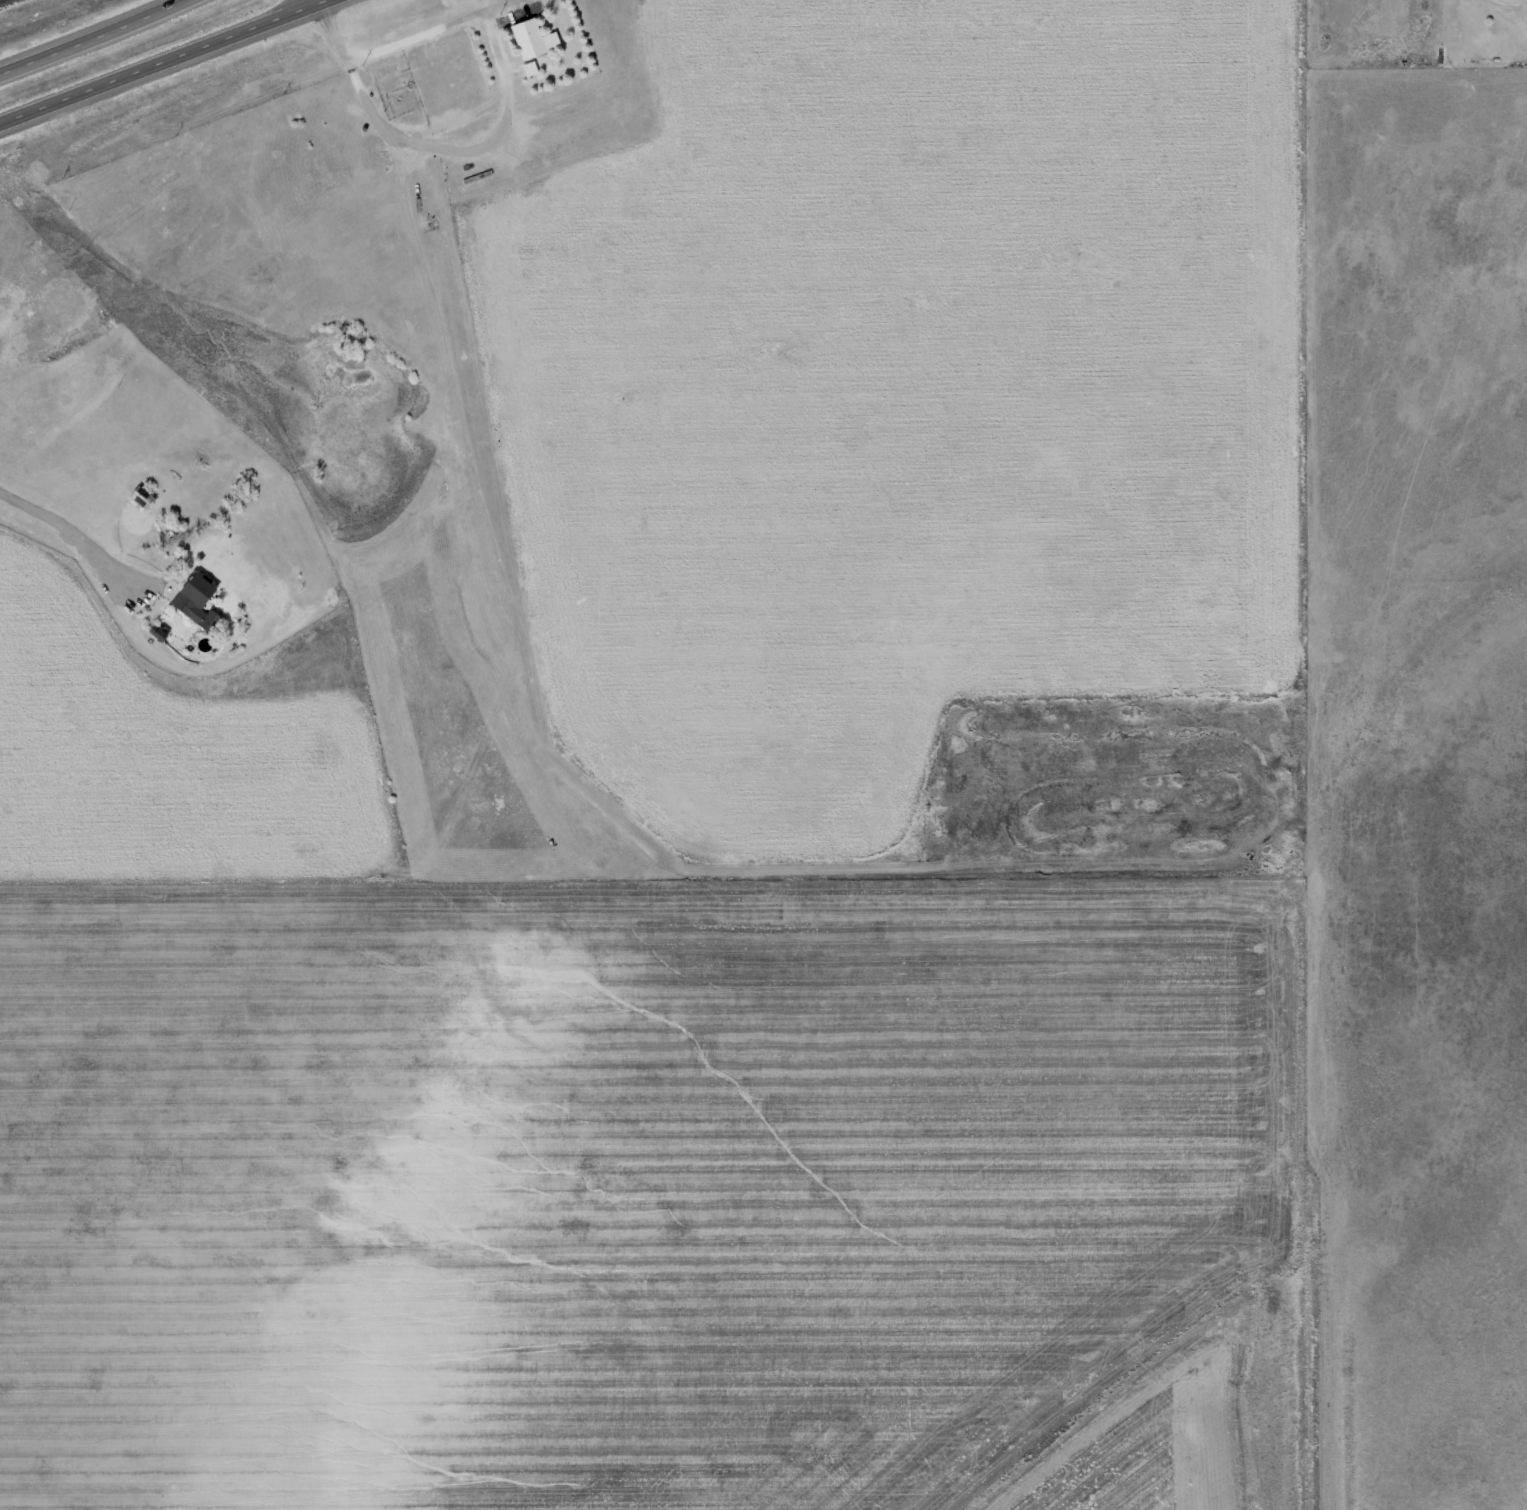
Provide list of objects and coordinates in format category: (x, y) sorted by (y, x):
railway: (0, 0)
road: (92, 38)
building: (534, 39)
road: (164, 62)
road: (1117, 88)
railway: (169, 132)
road: (430, 147)
road: (1373, 310)
building: (197, 597)

